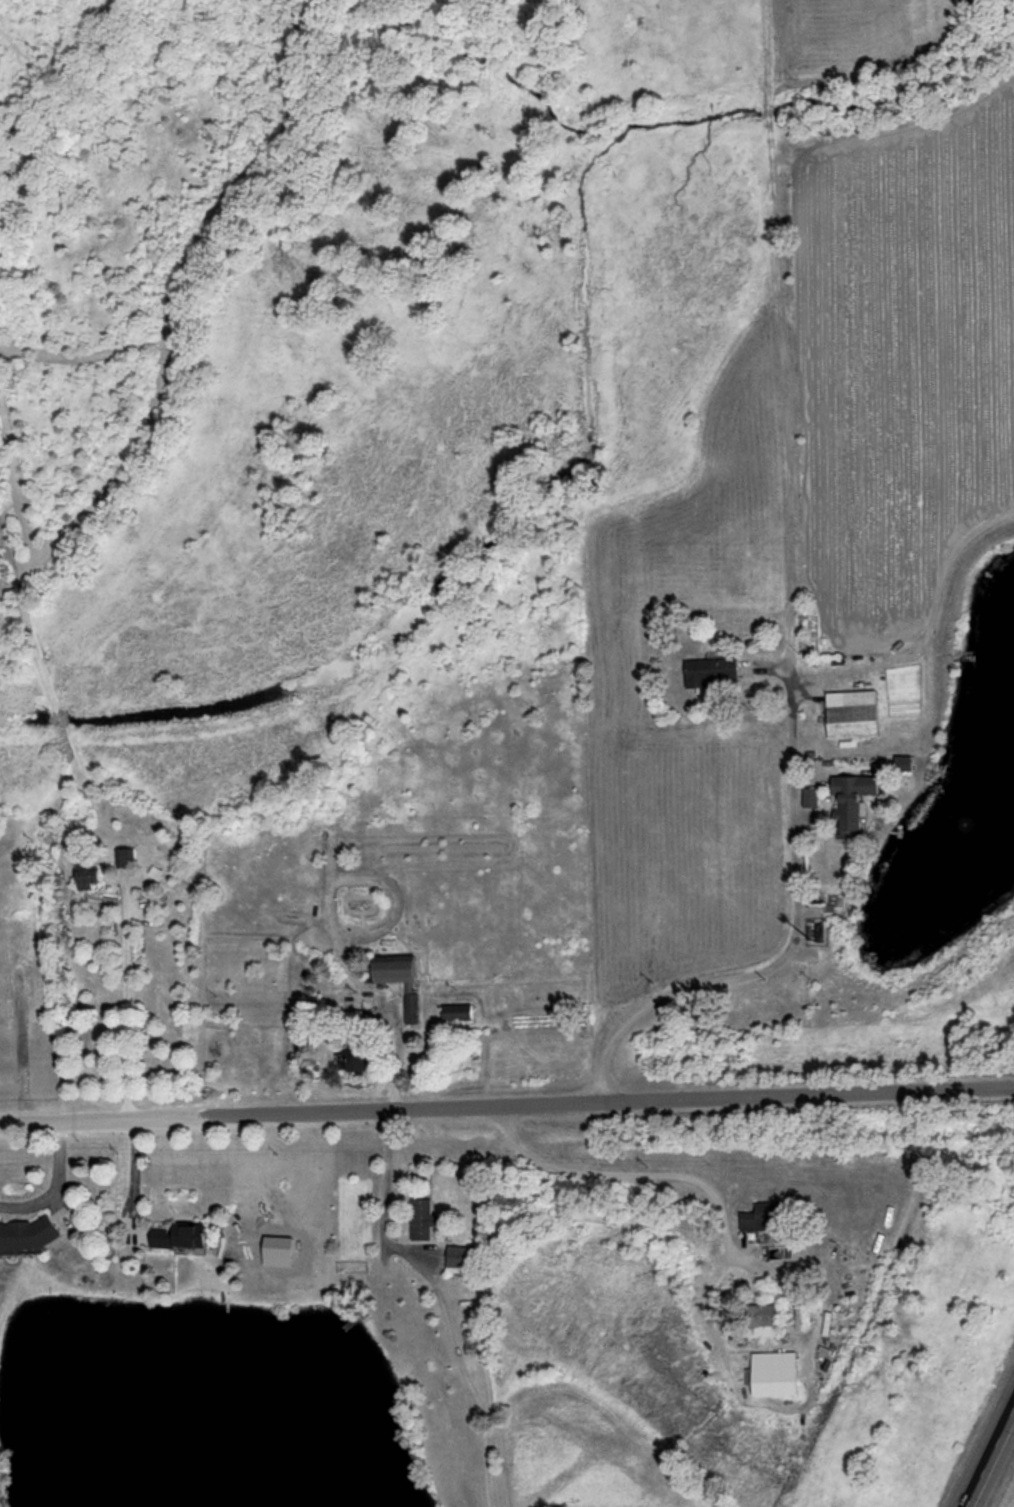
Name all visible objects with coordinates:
building: (710, 672)
building: (855, 717)
building: (851, 802)
building: (127, 858)
building: (86, 874)
road: (798, 917)
building: (394, 969)
building: (412, 1009)
building: (457, 1012)
road: (127, 1013)
road: (396, 1053)
building: (359, 1058)
road: (602, 1101)
road: (96, 1123)
road: (634, 1172)
road: (130, 1180)
road: (60, 1190)
road: (382, 1197)
building: (506, 1199)
building: (763, 1216)
building: (421, 1220)
building: (27, 1233)
building: (178, 1236)
building: (464, 1261)
building: (762, 1320)
building: (775, 1374)
road: (991, 1461)
park: (1, 1478)

